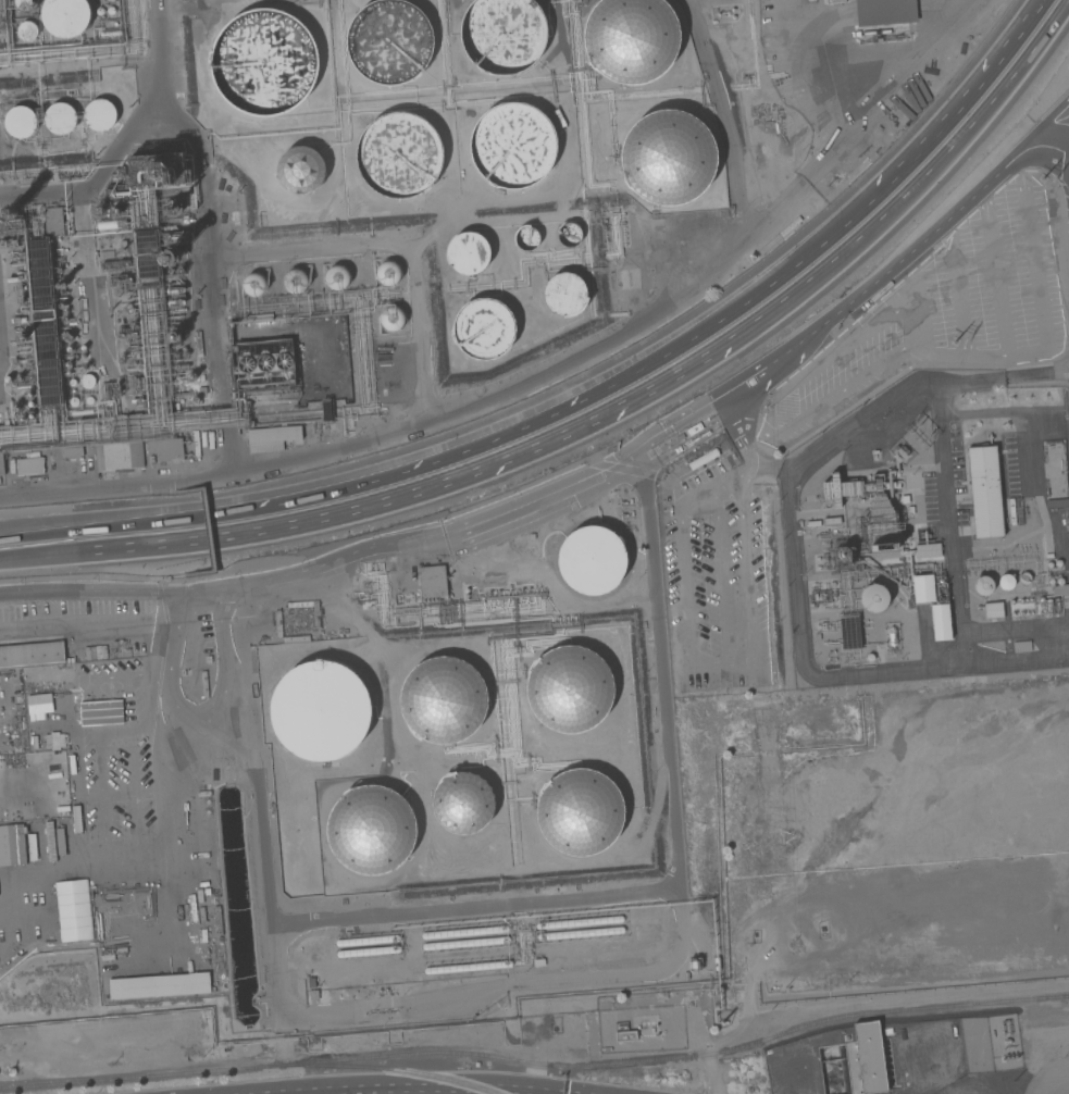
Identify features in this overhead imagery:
building: (110, 0)
building: (834, 1)
building: (23, 3)
storage tank: (23, 3)
building: (110, 10)
storage tank: (110, 10)
building: (100, 11)
storage tank: (100, 11)
building: (884, 12)
building: (65, 16)
storage tank: (65, 16)
building: (26, 30)
storage tank: (26, 30)
building: (110, 33)
building: (502, 35)
storage tank: (502, 35)
building: (631, 39)
storage tank: (631, 39)
building: (389, 41)
storage tank: (389, 41)
building: (263, 62)
storage tank: (263, 62)
building: (99, 114)
storage tank: (99, 114)
building: (60, 117)
storage tank: (60, 117)
road: (1044, 121)
building: (20, 122)
storage tank: (20, 122)
building: (512, 146)
storage tank: (512, 146)
building: (399, 154)
storage tank: (399, 154)
building: (668, 158)
storage tank: (668, 158)
building: (300, 170)
storage tank: (300, 170)
building: (158, 171)
road: (916, 185)
building: (120, 194)
building: (172, 208)
building: (11, 211)
building: (98, 211)
road: (775, 211)
building: (115, 212)
building: (53, 221)
building: (112, 224)
building: (569, 235)
storage tank: (569, 235)
building: (526, 238)
storage tank: (526, 238)
building: (468, 252)
storage tank: (468, 252)
building: (147, 258)
building: (169, 259)
building: (388, 273)
storage tank: (388, 273)
building: (336, 277)
storage tank: (336, 277)
building: (14, 278)
building: (295, 281)
storage tank: (295, 281)
building: (253, 285)
storage tank: (253, 285)
building: (175, 290)
building: (565, 295)
storage tank: (565, 295)
road: (958, 299)
building: (259, 319)
building: (391, 319)
storage tank: (391, 319)
building: (18, 320)
building: (43, 322)
building: (483, 328)
storage tank: (483, 328)
building: (175, 336)
building: (23, 337)
road: (1024, 352)
road: (939, 357)
road: (989, 358)
building: (264, 363)
road: (757, 372)
building: (8, 378)
road: (1003, 378)
building: (87, 380)
building: (72, 382)
road: (587, 395)
building: (89, 400)
building: (137, 400)
building: (73, 401)
road: (772, 403)
building: (325, 409)
building: (693, 428)
building: (680, 437)
building: (272, 438)
road: (742, 438)
building: (165, 449)
building: (72, 451)
building: (119, 456)
building: (703, 459)
road: (277, 463)
building: (29, 464)
building: (1, 465)
road: (784, 472)
road: (1029, 473)
road: (722, 488)
building: (832, 489)
building: (984, 490)
building: (905, 499)
road: (383, 504)
building: (1057, 504)
building: (880, 521)
power plant: (930, 530)
building: (928, 549)
building: (842, 554)
building: (1048, 556)
building: (592, 560)
storage tank: (592, 560)
building: (1058, 563)
building: (1049, 564)
building: (1024, 577)
building: (432, 581)
building: (1059, 581)
building: (1006, 582)
building: (1051, 582)
building: (983, 585)
road: (746, 586)
building: (923, 588)
building: (1060, 589)
road: (206, 590)
building: (873, 598)
building: (1041, 600)
building: (1057, 604)
building: (1048, 605)
building: (993, 610)
building: (941, 622)
road: (62, 626)
building: (849, 633)
building: (817, 636)
building: (892, 636)
building: (1021, 646)
building: (32, 654)
building: (869, 658)
building: (71, 660)
road: (718, 669)
road: (836, 679)
building: (569, 688)
storage tank: (569, 688)
building: (443, 700)
storage tank: (443, 700)
building: (38, 706)
building: (320, 710)
storage tank: (320, 710)
road: (199, 717)
building: (462, 803)
storage tank: (462, 803)
building: (580, 812)
storage tank: (580, 812)
building: (371, 830)
storage tank: (371, 830)
building: (12, 845)
road: (580, 895)
building: (73, 911)
storage tank: (577, 922)
storage tank: (464, 932)
storage tank: (581, 933)
storage tank: (366, 940)
storage tank: (465, 943)
storage tank: (369, 952)
building: (717, 964)
storage tank: (468, 967)
building: (685, 975)
building: (311, 982)
building: (159, 986)
building: (313, 994)
railway: (1066, 996)
road: (858, 1005)
road: (697, 1032)
building: (626, 1035)
building: (870, 1057)
railway: (670, 1059)
railway: (383, 1069)
railway: (133, 1078)

